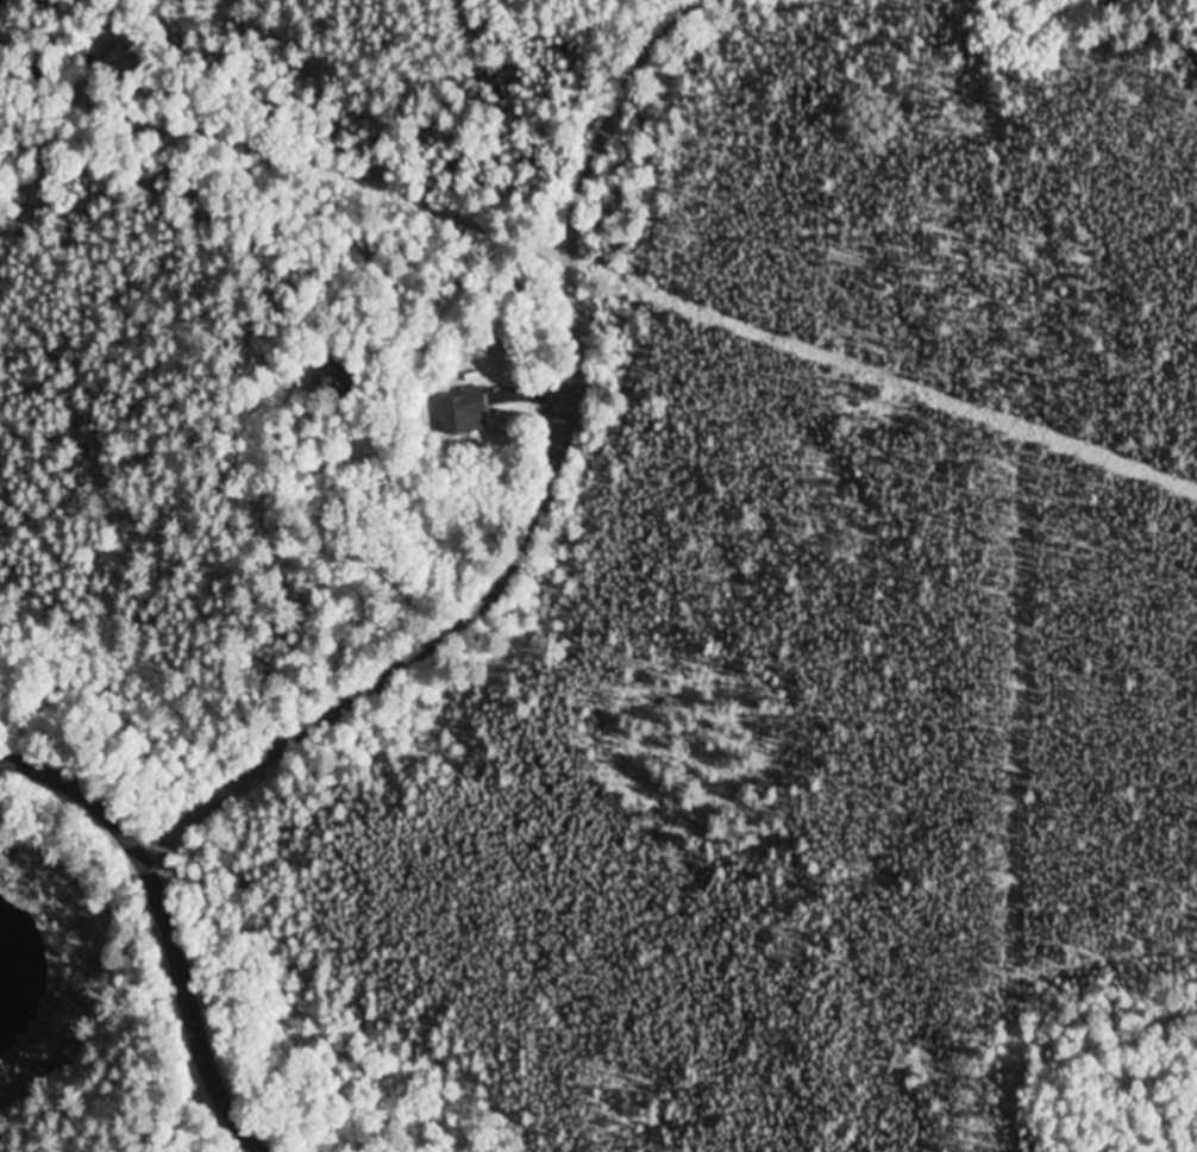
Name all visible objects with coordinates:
road: (615, 124)
road: (311, 190)
building: (462, 413)
road: (457, 622)
road: (164, 926)

